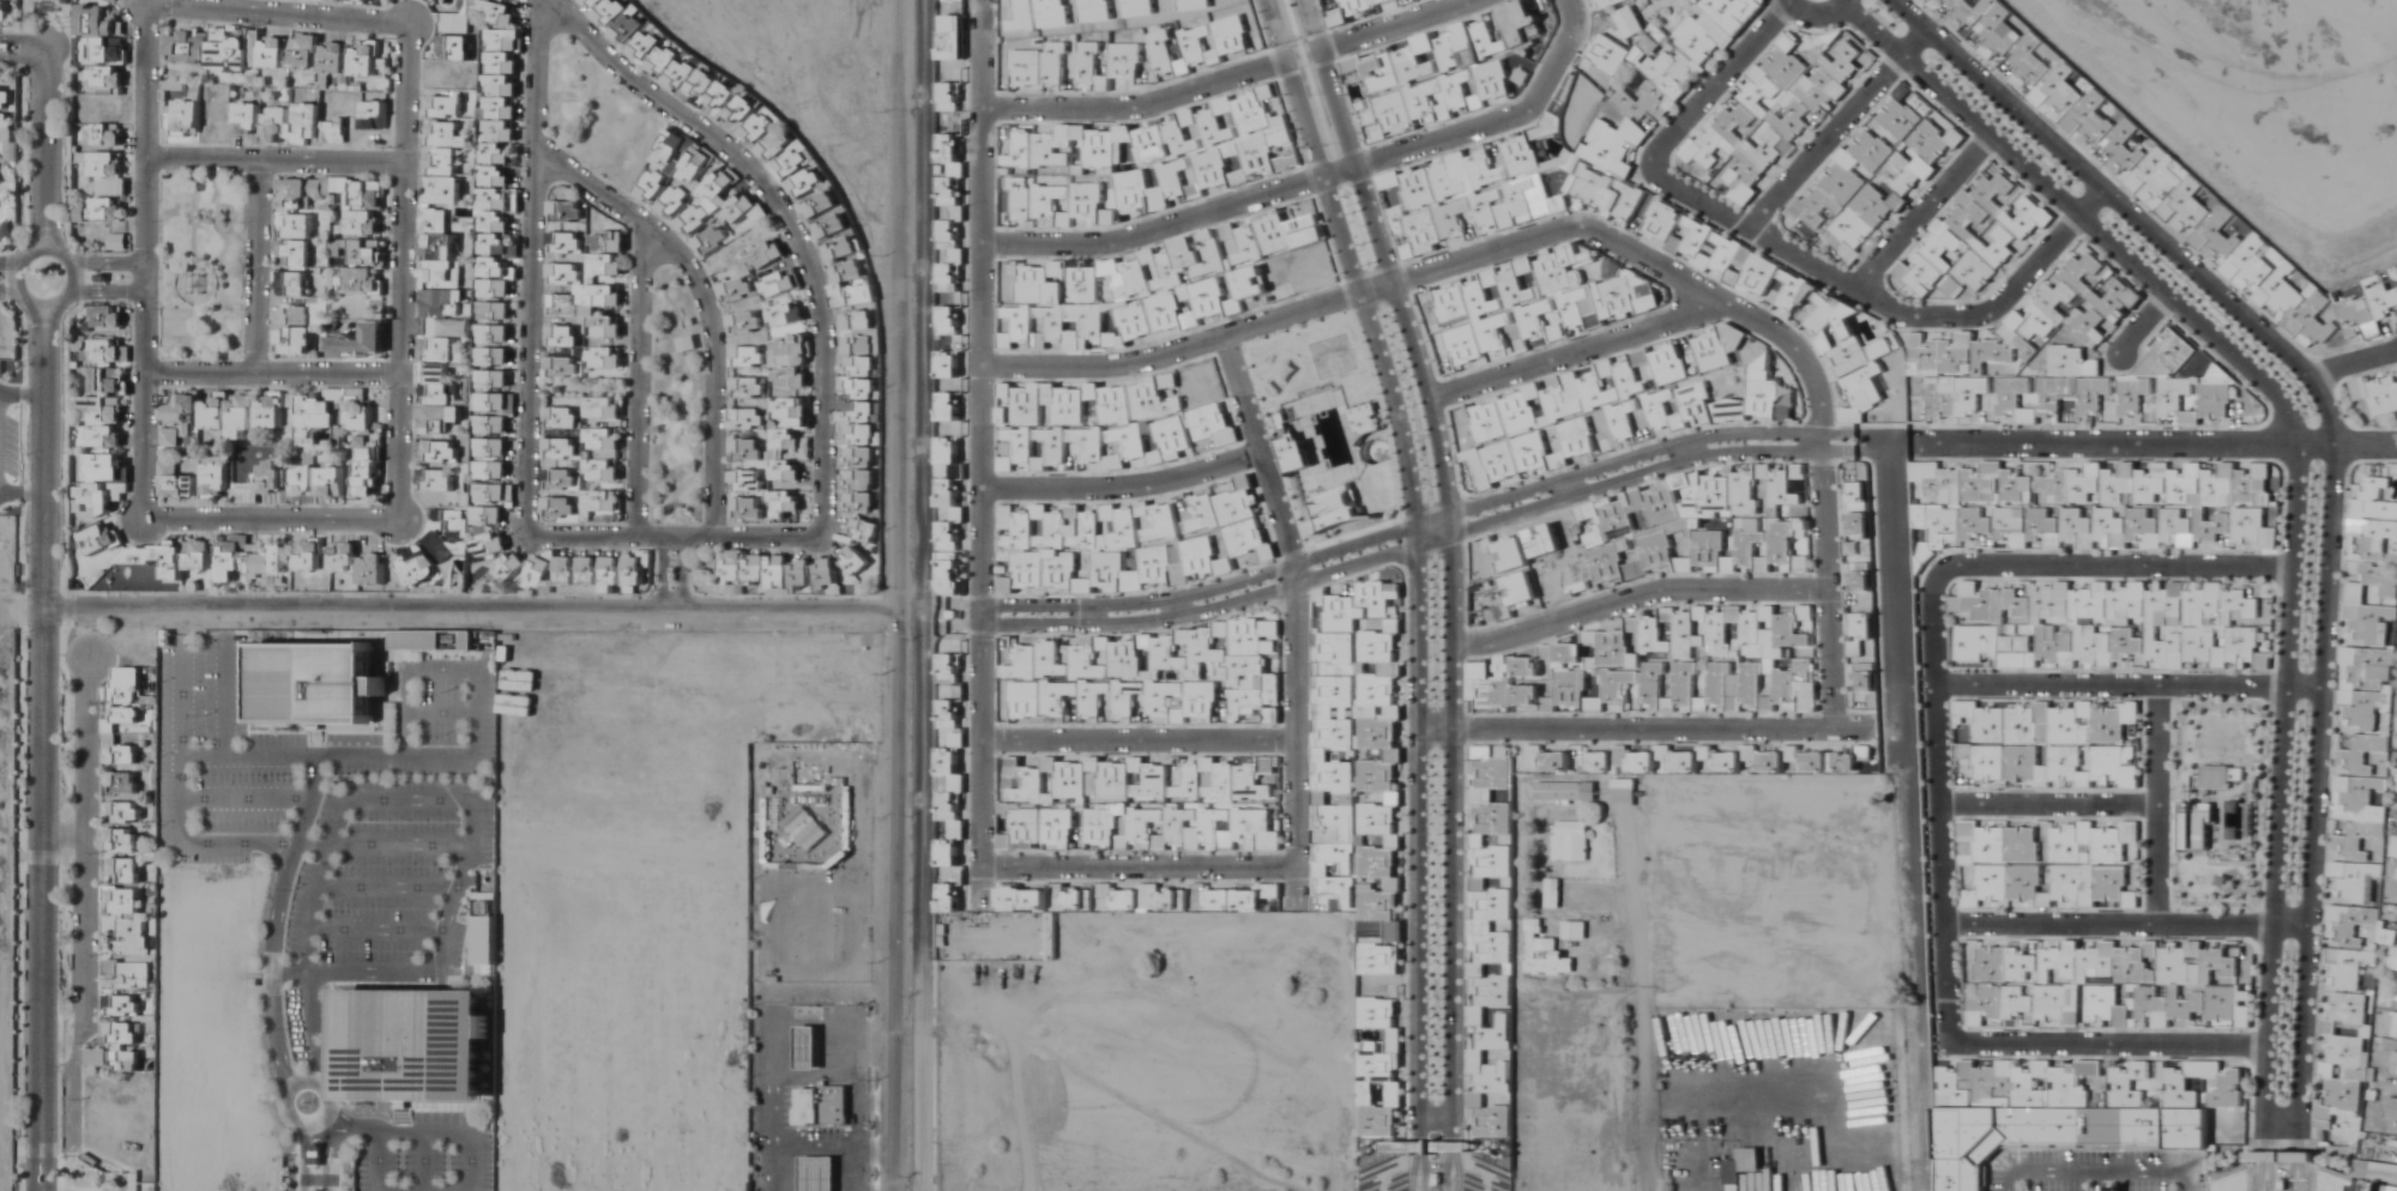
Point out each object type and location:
park: (204, 260)
park: (2222, 803)
gas station: (817, 1171)

